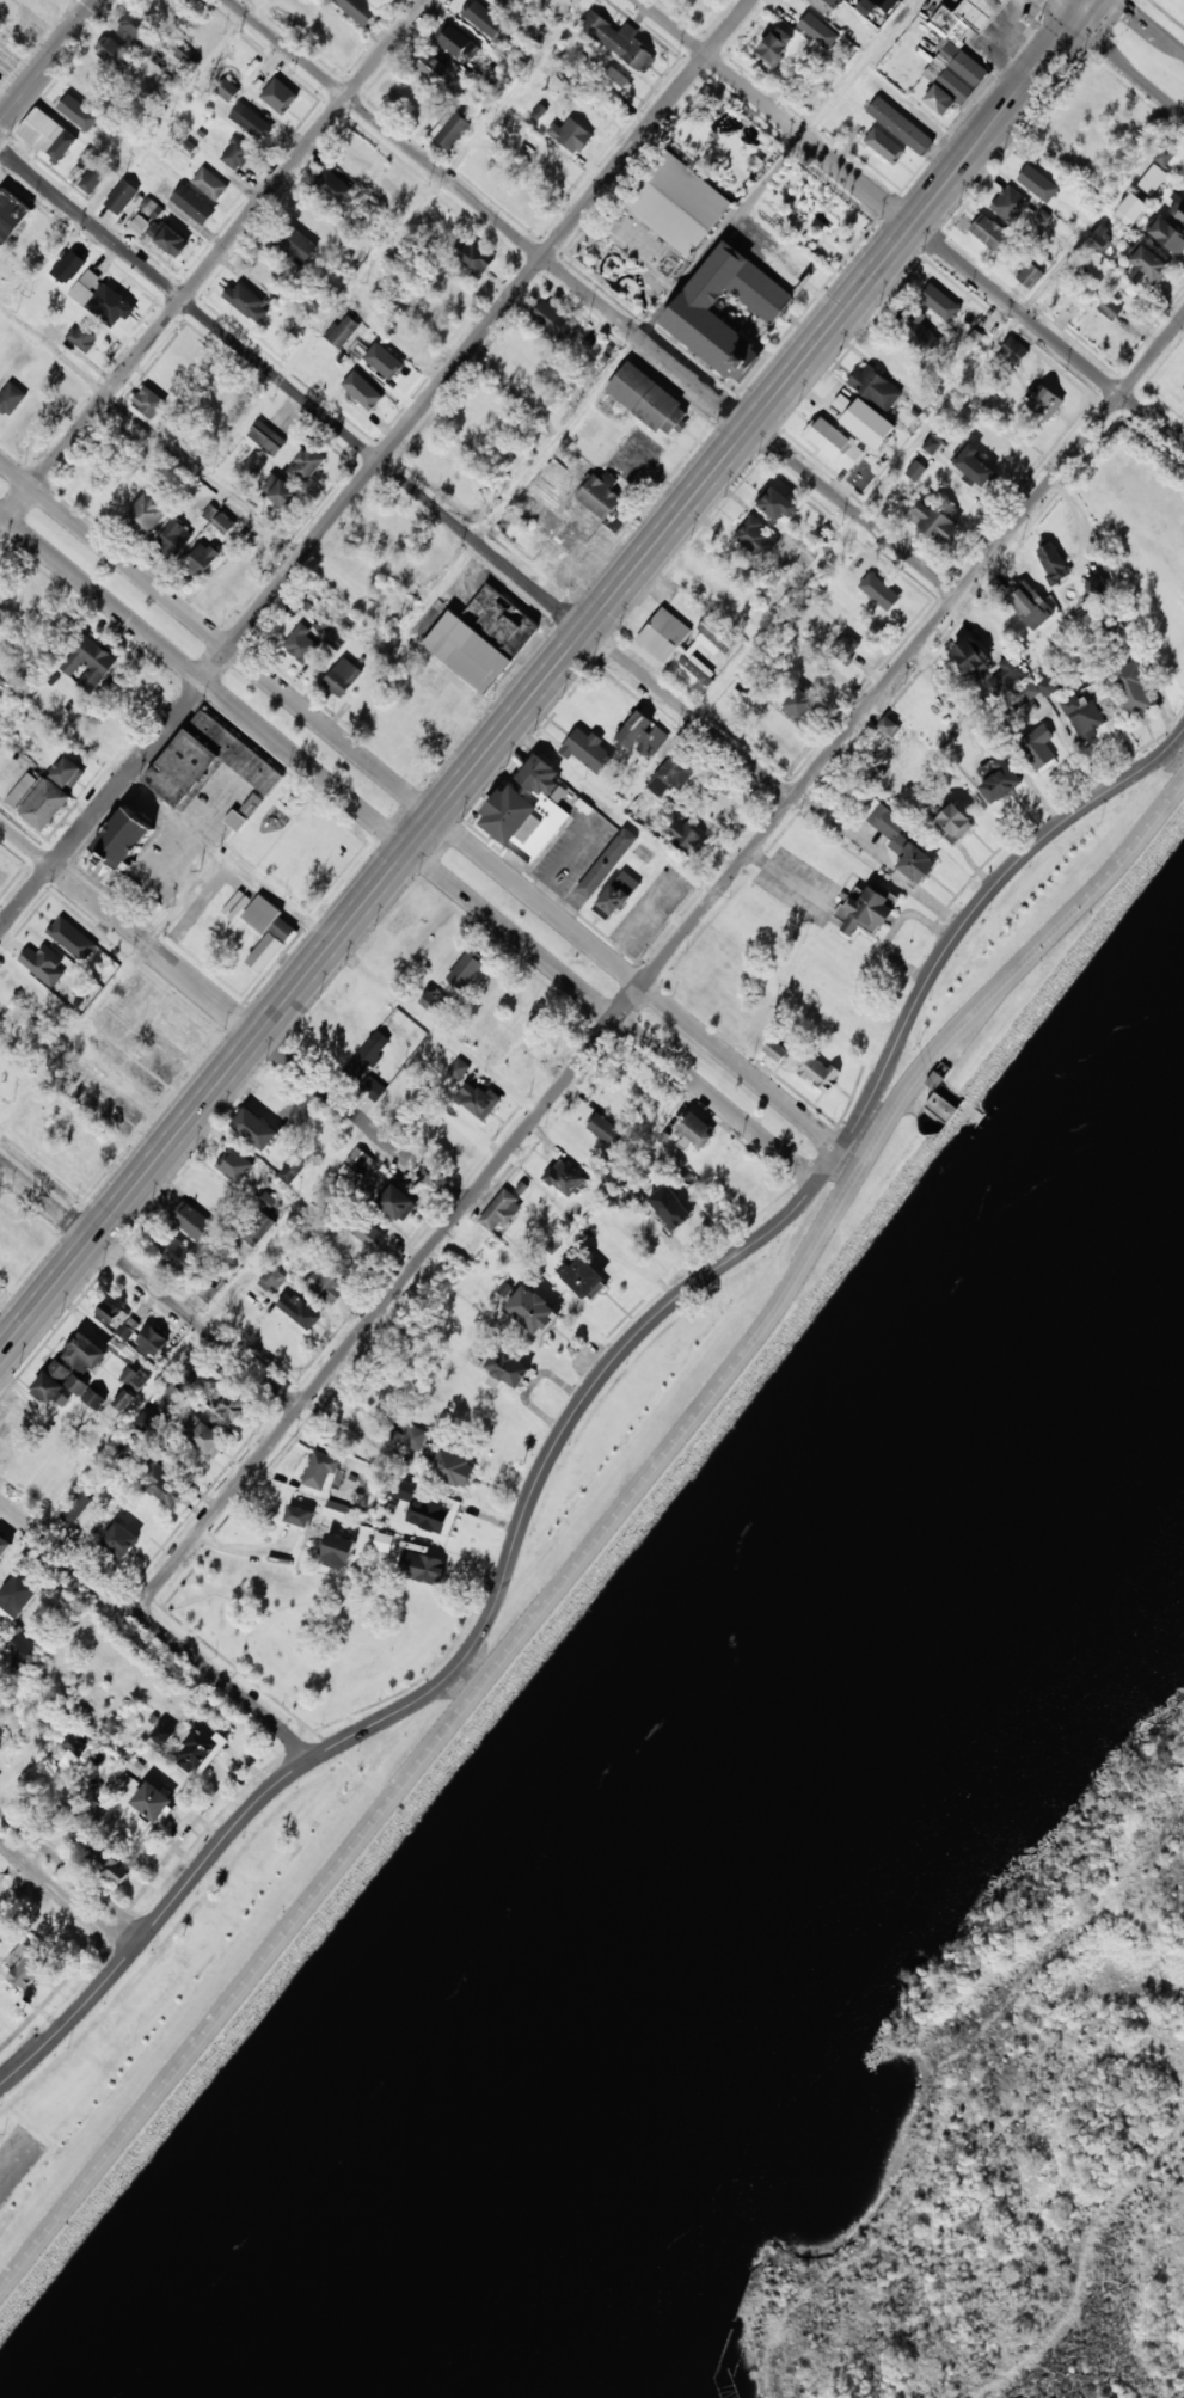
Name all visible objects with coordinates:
building: (853, 0)
building: (855, 0)
building: (507, 1)
building: (698, 1)
road: (1128, 2)
building: (884, 4)
building: (828, 6)
building: (864, 6)
building: (56, 7)
building: (361, 10)
park: (1171, 10)
road: (1059, 12)
building: (969, 17)
building: (484, 18)
building: (808, 18)
traffic signals: (1074, 24)
road: (1151, 26)
building: (337, 32)
building: (152, 36)
building: (619, 39)
building: (455, 42)
building: (777, 47)
building: (116, 55)
road: (50, 63)
building: (433, 69)
road: (1129, 69)
building: (952, 80)
building: (616, 81)
building: (228, 90)
building: (278, 92)
building: (76, 114)
building: (251, 121)
building: (901, 124)
building: (450, 128)
building: (39, 129)
building: (570, 134)
building: (62, 147)
building: (884, 147)
building: (237, 153)
building: (483, 153)
building: (1164, 154)
road: (136, 155)
building: (93, 170)
building: (1038, 176)
building: (210, 183)
building: (336, 189)
road: (436, 189)
building: (520, 191)
building: (122, 196)
building: (364, 202)
building: (679, 202)
building: (194, 204)
building: (1010, 204)
building: (1133, 208)
building: (1178, 209)
building: (12, 213)
road: (913, 220)
building: (161, 228)
building: (990, 232)
building: (1170, 233)
building: (39, 238)
building: (293, 241)
building: (1105, 244)
building: (473, 256)
road: (213, 262)
building: (1149, 264)
building: (668, 265)
building: (69, 266)
building: (1030, 275)
building: (453, 284)
building: (86, 287)
road: (593, 296)
building: (247, 300)
building: (941, 305)
building: (111, 307)
building: (1110, 308)
building: (695, 314)
road: (660, 315)
building: (550, 318)
building: (343, 330)
building: (989, 330)
building: (920, 333)
building: (84, 336)
building: (1014, 350)
building: (23, 358)
building: (380, 366)
building: (876, 386)
building: (1183, 387)
building: (362, 390)
building: (11, 398)
building: (649, 399)
building: (1045, 399)
building: (148, 401)
building: (864, 417)
building: (268, 437)
building: (834, 442)
building: (932, 443)
building: (637, 456)
building: (308, 464)
road: (902, 464)
road: (375, 465)
building: (977, 465)
building: (254, 466)
road: (398, 470)
building: (287, 493)
building: (601, 497)
building: (777, 503)
building: (147, 511)
building: (208, 511)
building: (226, 515)
building: (933, 521)
building: (755, 535)
building: (172, 538)
building: (200, 559)
building: (1053, 562)
building: (1094, 584)
building: (878, 590)
road: (358, 597)
building: (1026, 602)
building: (516, 627)
building: (663, 634)
building: (335, 637)
building: (300, 643)
building: (845, 646)
building: (466, 651)
building: (717, 651)
building: (971, 657)
building: (88, 662)
building: (1008, 673)
building: (342, 676)
road: (547, 679)
building: (1048, 685)
building: (1133, 688)
building: (1024, 692)
building: (736, 695)
building: (798, 704)
building: (1084, 716)
road: (66, 719)
building: (643, 735)
building: (1038, 747)
building: (585, 749)
building: (208, 761)
building: (66, 771)
building: (22, 790)
building: (44, 803)
building: (251, 804)
road: (422, 804)
building: (527, 809)
building: (234, 820)
building: (953, 821)
building: (685, 835)
building: (121, 839)
building: (898, 841)
road: (409, 847)
building: (607, 863)
road: (243, 873)
building: (615, 895)
building: (866, 908)
building: (266, 931)
building: (70, 938)
building: (42, 963)
road: (661, 964)
building: (465, 970)
road: (233, 1013)
building: (775, 1049)
building: (366, 1055)
building: (459, 1067)
building: (820, 1073)
building: (934, 1079)
building: (372, 1087)
building: (478, 1099)
building: (941, 1105)
building: (253, 1128)
building: (605, 1129)
building: (695, 1129)
building: (233, 1164)
building: (293, 1169)
building: (565, 1175)
building: (395, 1202)
building: (670, 1206)
building: (501, 1210)
building: (190, 1219)
building: (262, 1219)
building: (363, 1229)
building: (582, 1276)
building: (271, 1278)
road: (241, 1281)
road: (151, 1283)
building: (325, 1284)
building: (297, 1310)
building: (532, 1310)
building: (109, 1311)
building: (124, 1332)
building: (151, 1342)
building: (85, 1351)
building: (191, 1367)
building: (507, 1369)
building: (133, 1376)
building: (59, 1382)
building: (93, 1397)
building: (123, 1399)
road: (583, 1405)
building: (233, 1406)
building: (413, 1436)
building: (207, 1437)
building: (453, 1467)
building: (321, 1470)
building: (164, 1484)
building: (74, 1507)
building: (335, 1509)
building: (430, 1509)
building: (297, 1515)
building: (119, 1539)
road: (596, 1541)
building: (4, 1545)
building: (336, 1550)
building: (410, 1558)
building: (18, 1594)
road: (158, 1627)
building: (160, 1736)
building: (0, 1742)
building: (201, 1749)
building: (70, 1752)
building: (135, 1766)
building: (152, 1802)
building: (112, 1868)
road: (74, 1871)
road: (68, 1893)
building: (26, 1969)

